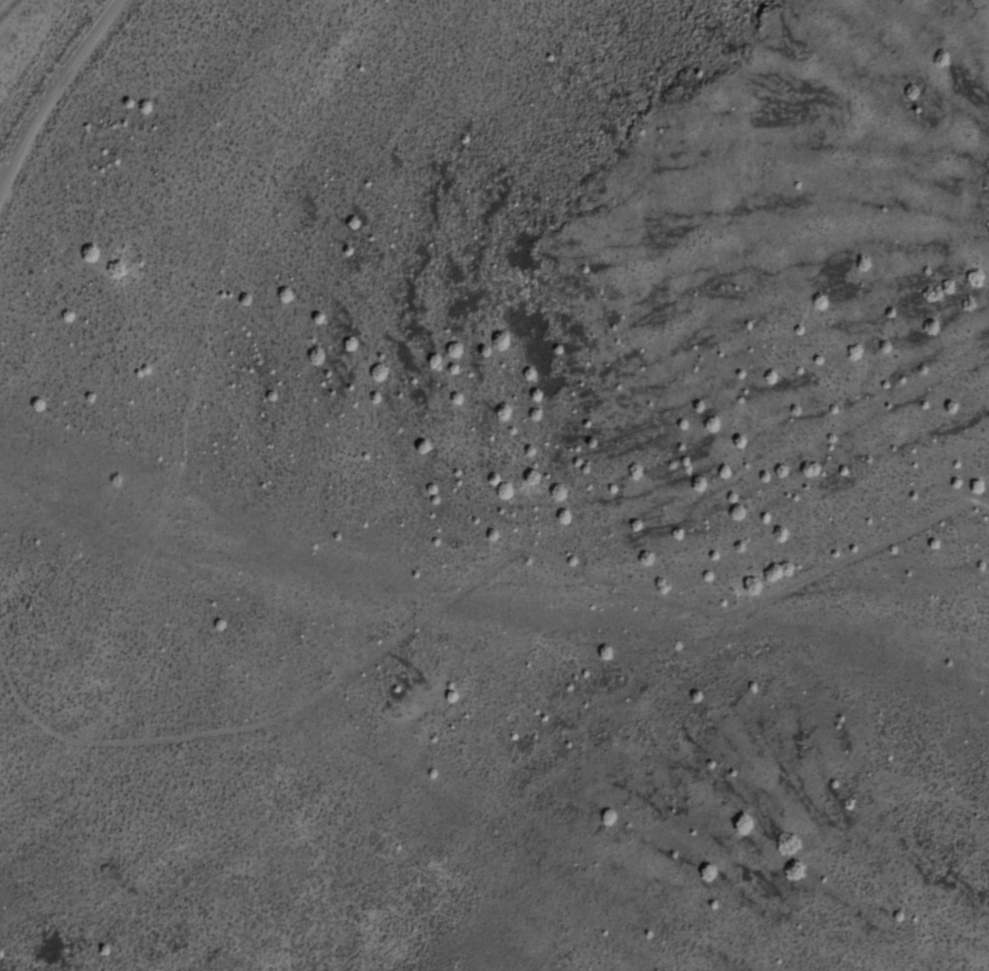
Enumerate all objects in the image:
road: (53, 93)

